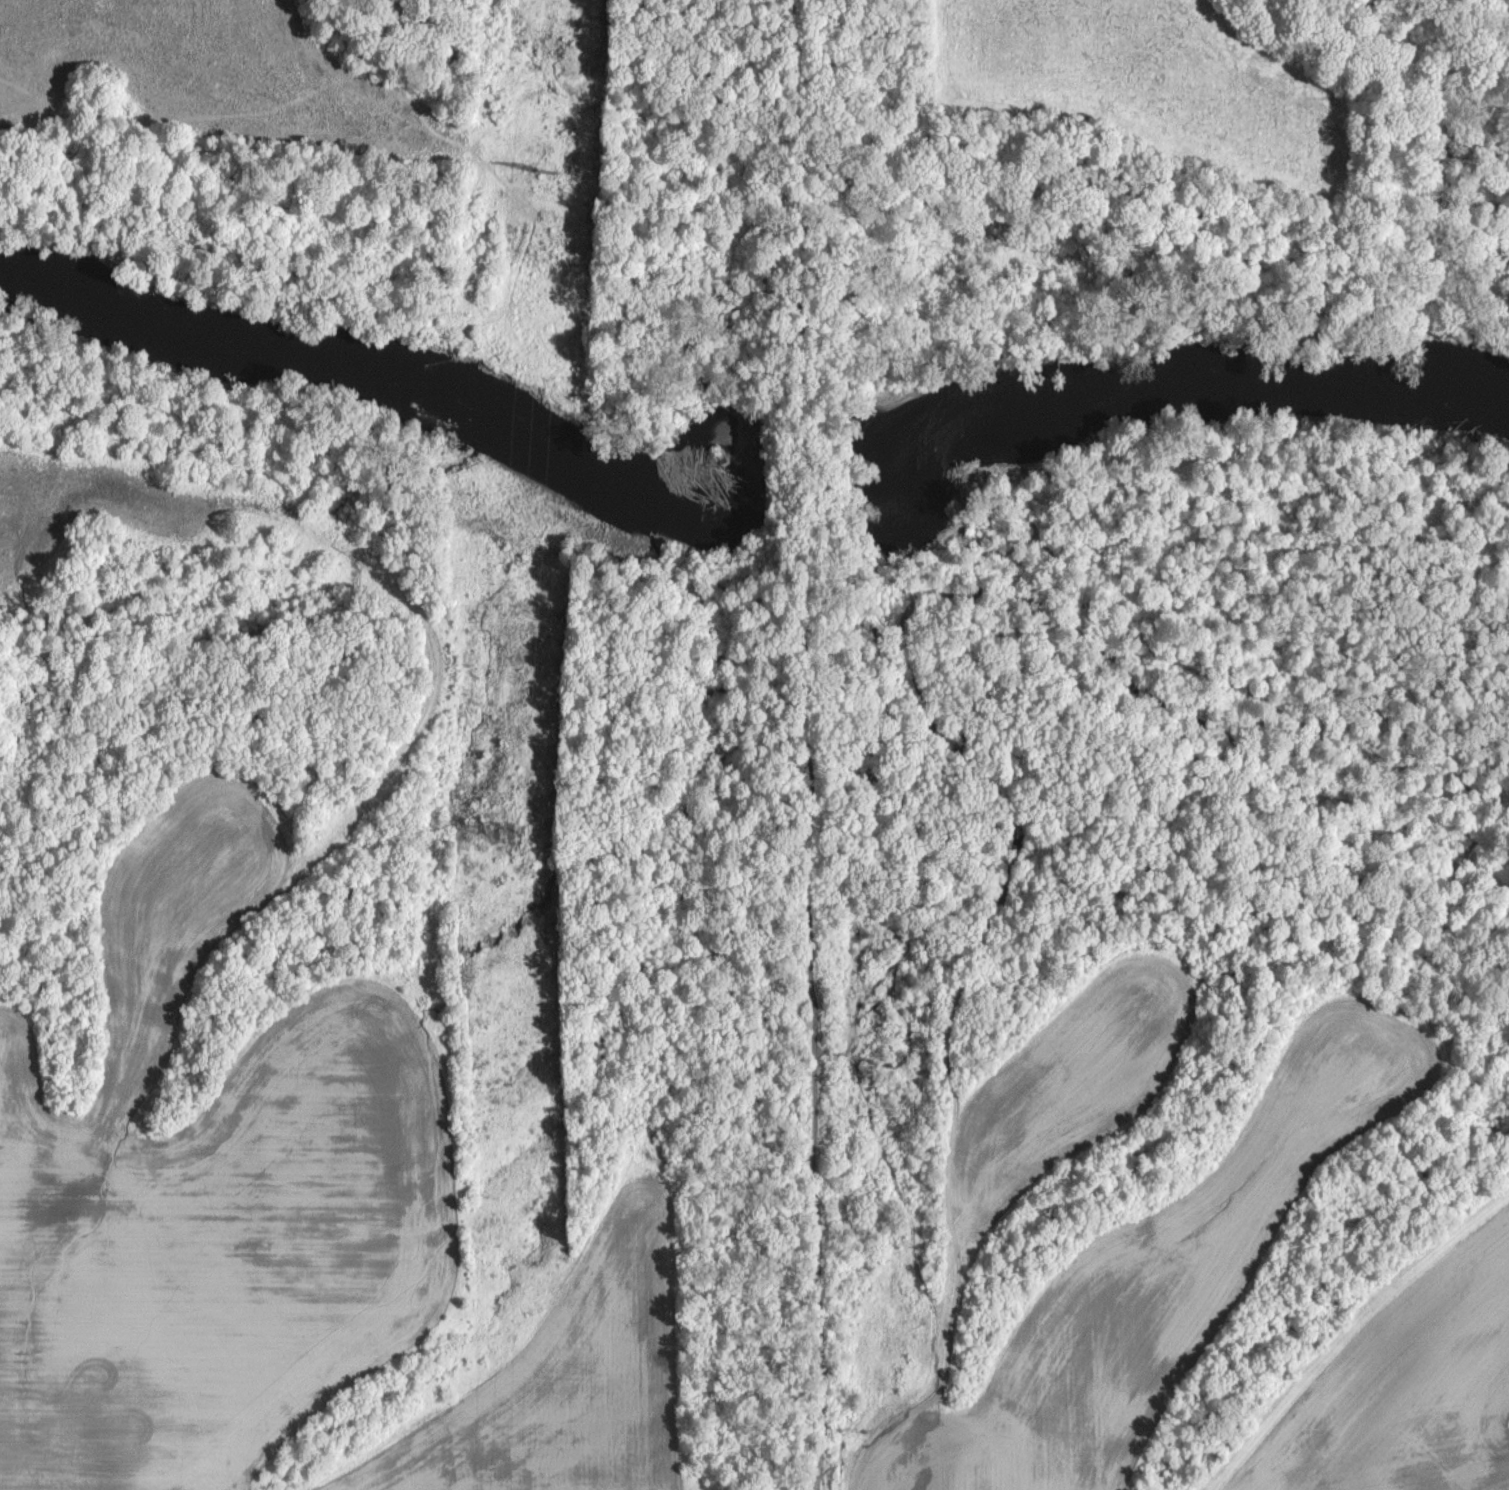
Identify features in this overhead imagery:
power tower: (551, 175)
river: (743, 480)
power tower: (505, 832)

